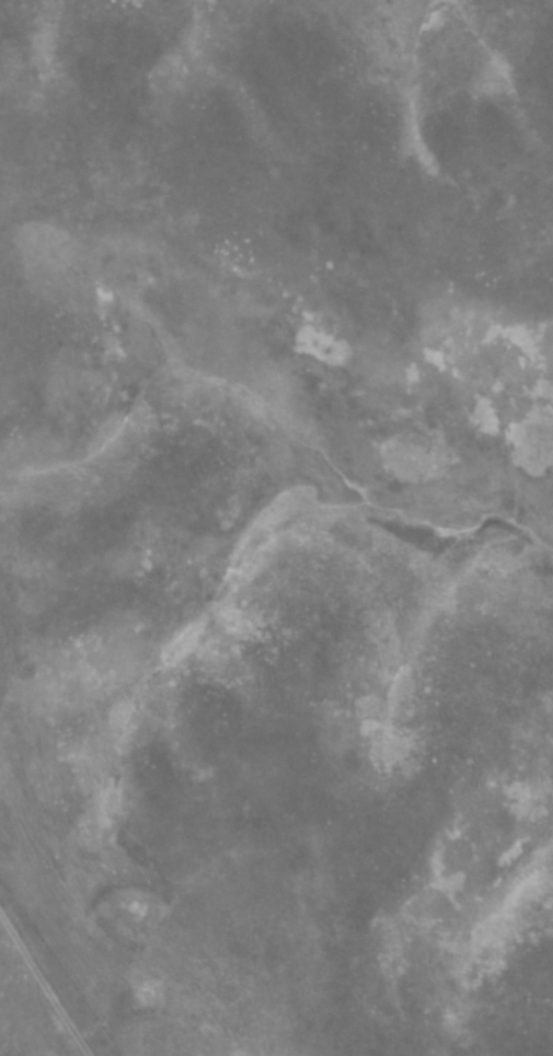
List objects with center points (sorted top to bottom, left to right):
road: (76, 970)

